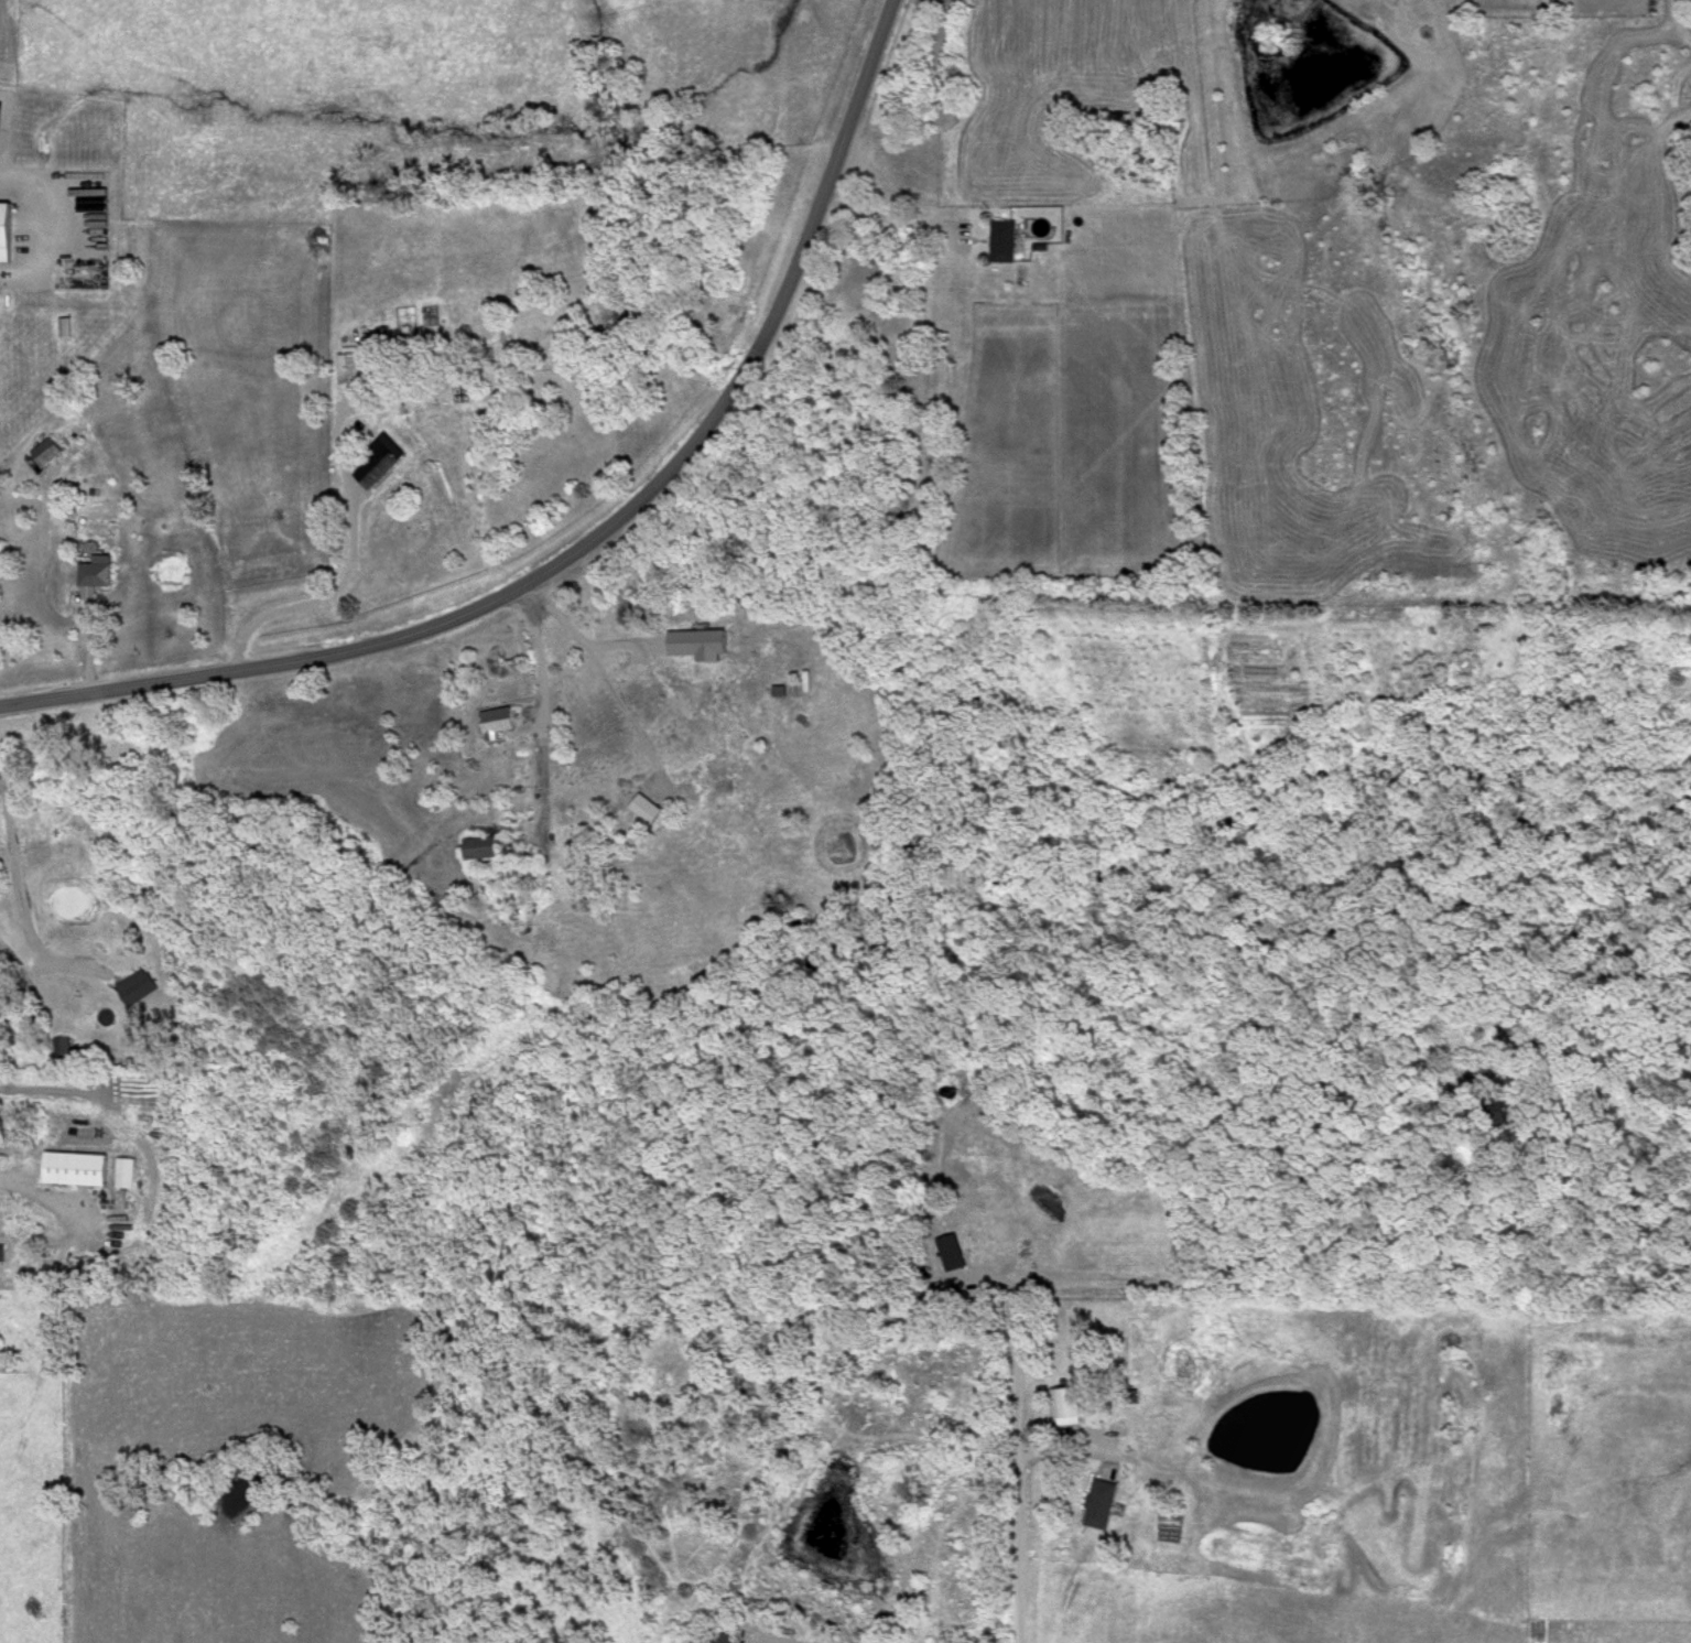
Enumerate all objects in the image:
road: (886, 219)
building: (6, 235)
building: (1001, 244)
building: (63, 331)
building: (356, 375)
building: (45, 454)
building: (381, 464)
road: (595, 539)
building: (94, 576)
road: (316, 603)
road: (604, 677)
building: (780, 694)
road: (536, 704)
building: (495, 724)
building: (643, 811)
building: (478, 851)
road: (20, 902)
building: (138, 990)
building: (63, 1052)
building: (1496, 1114)
building: (77, 1170)
building: (126, 1175)
road: (1243, 1239)
building: (2, 1253)
building: (951, 1255)
building: (1069, 1403)
road: (1028, 1466)
building: (1099, 1504)
building: (711, 1636)

